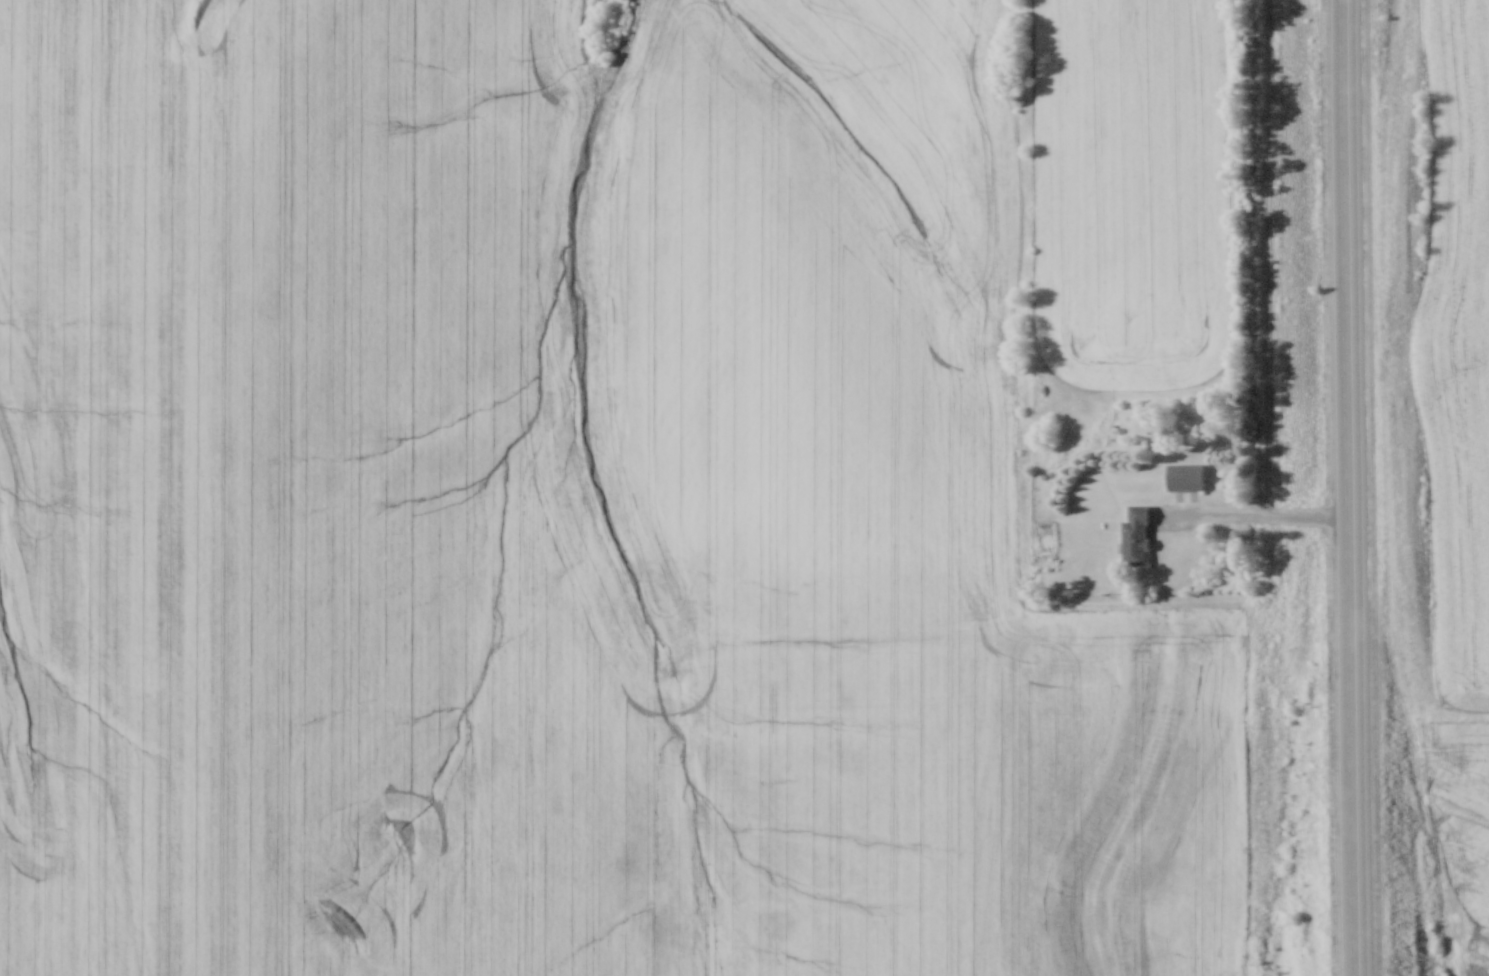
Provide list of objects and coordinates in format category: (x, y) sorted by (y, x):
building: (1184, 476)
road: (1352, 488)
road: (1254, 515)
building: (1135, 535)

